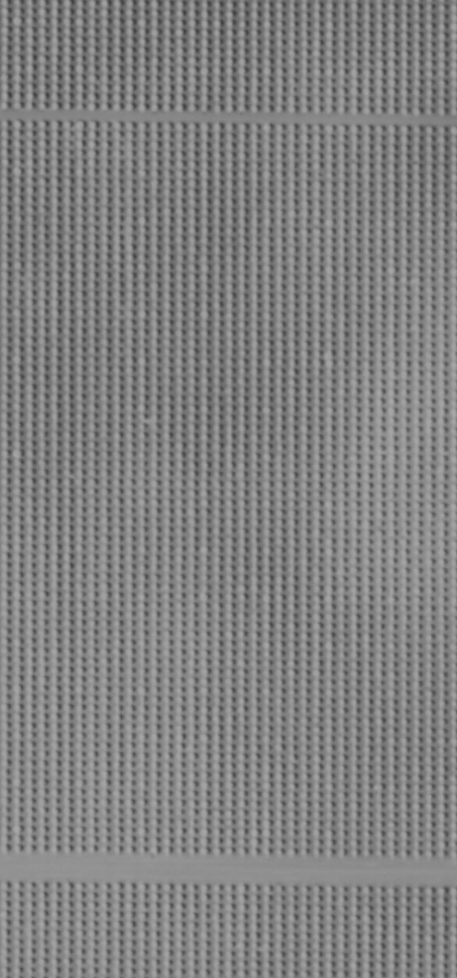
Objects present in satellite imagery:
crop: (228, 489)

